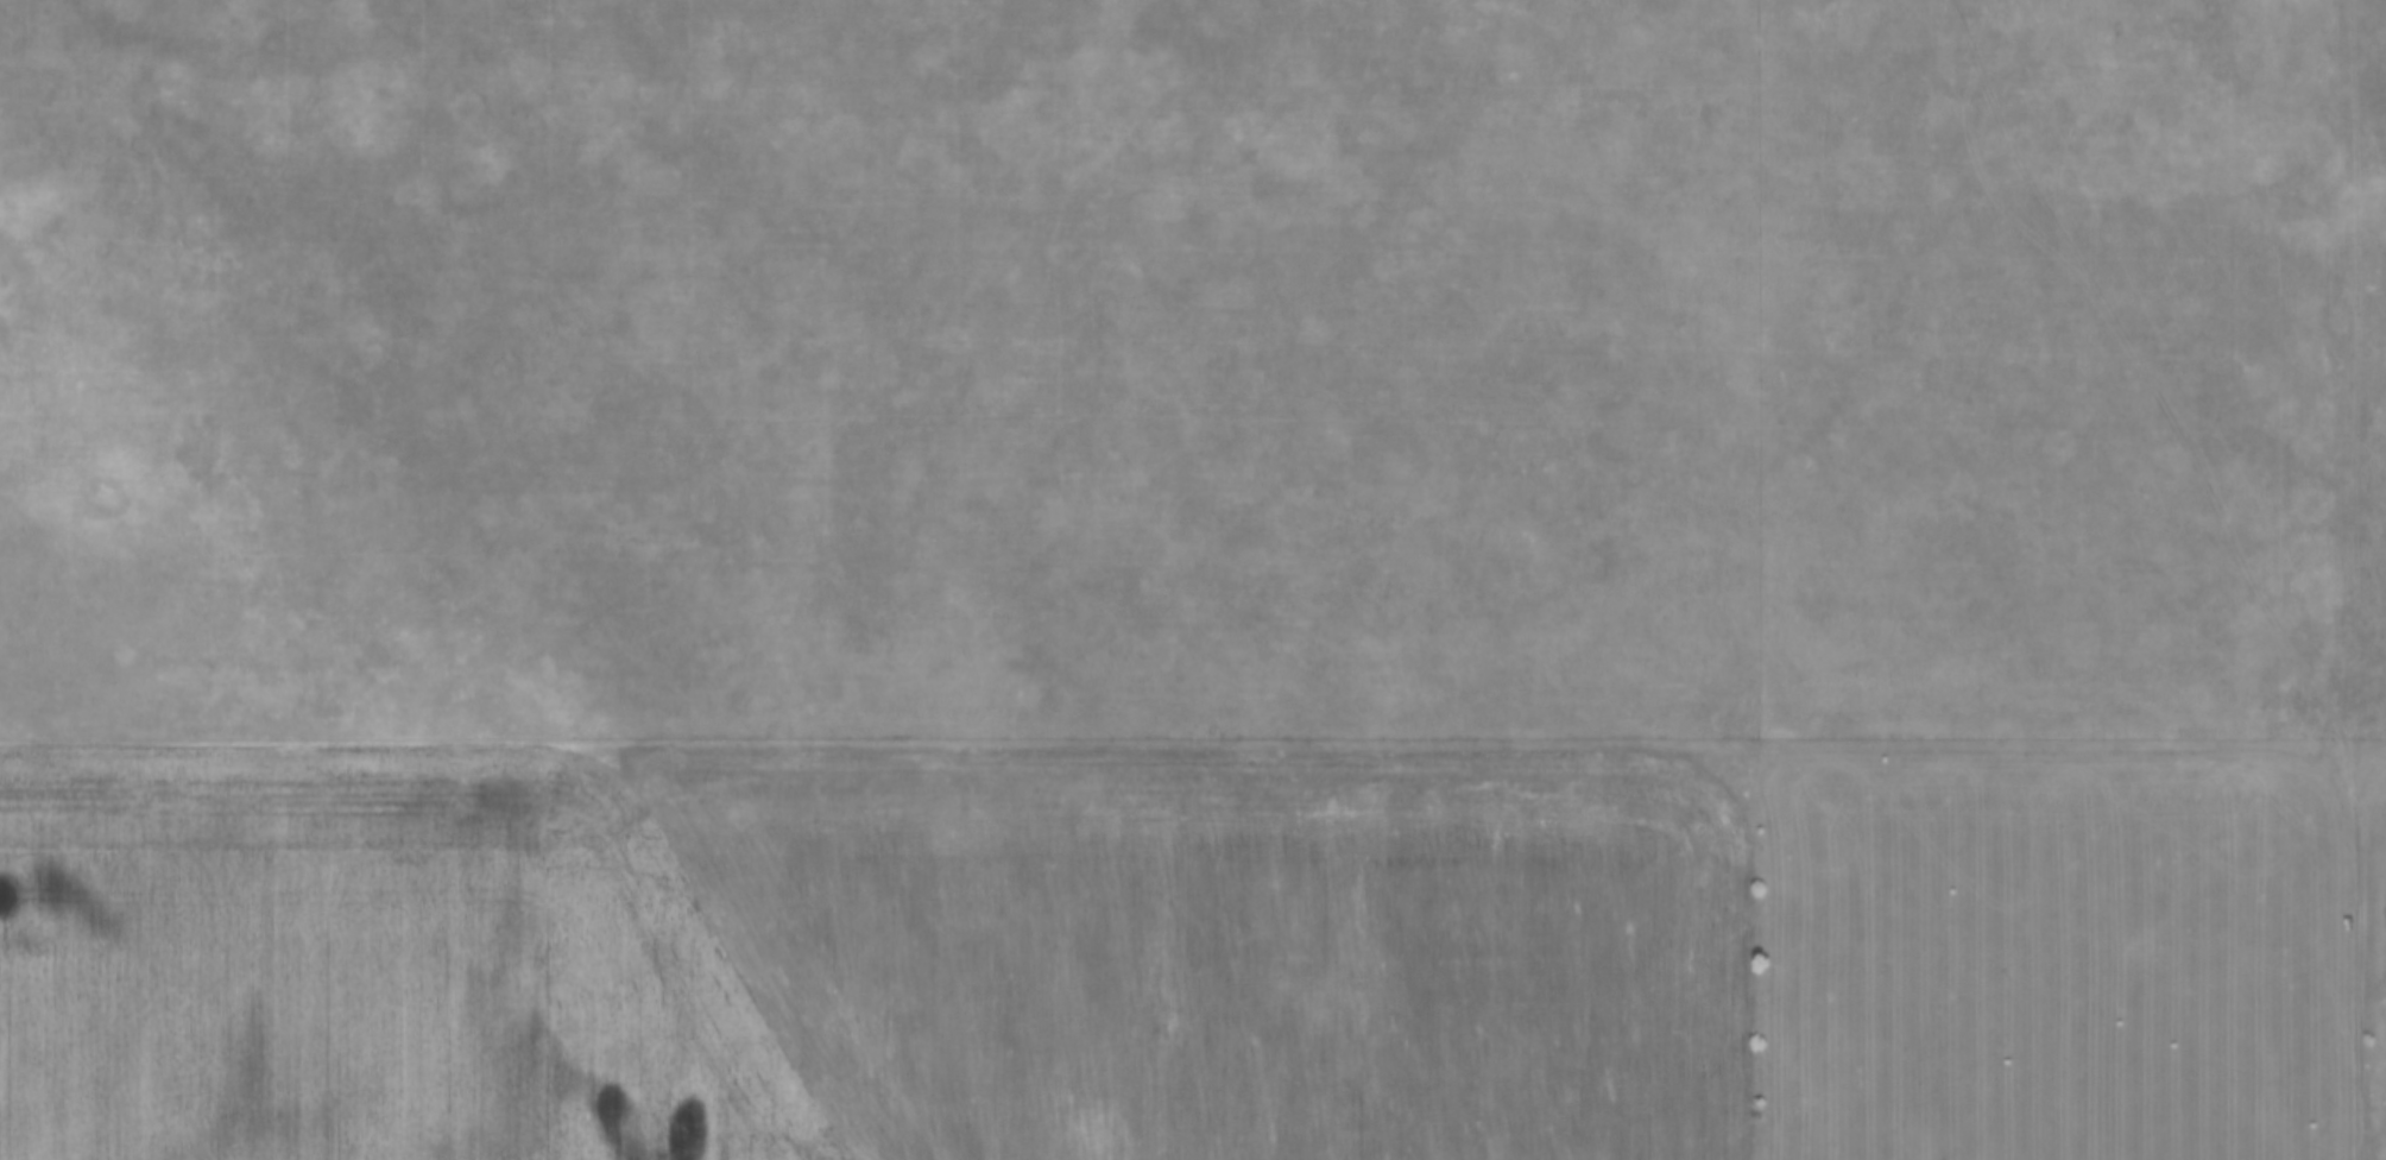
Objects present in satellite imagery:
road: (2355, 579)

